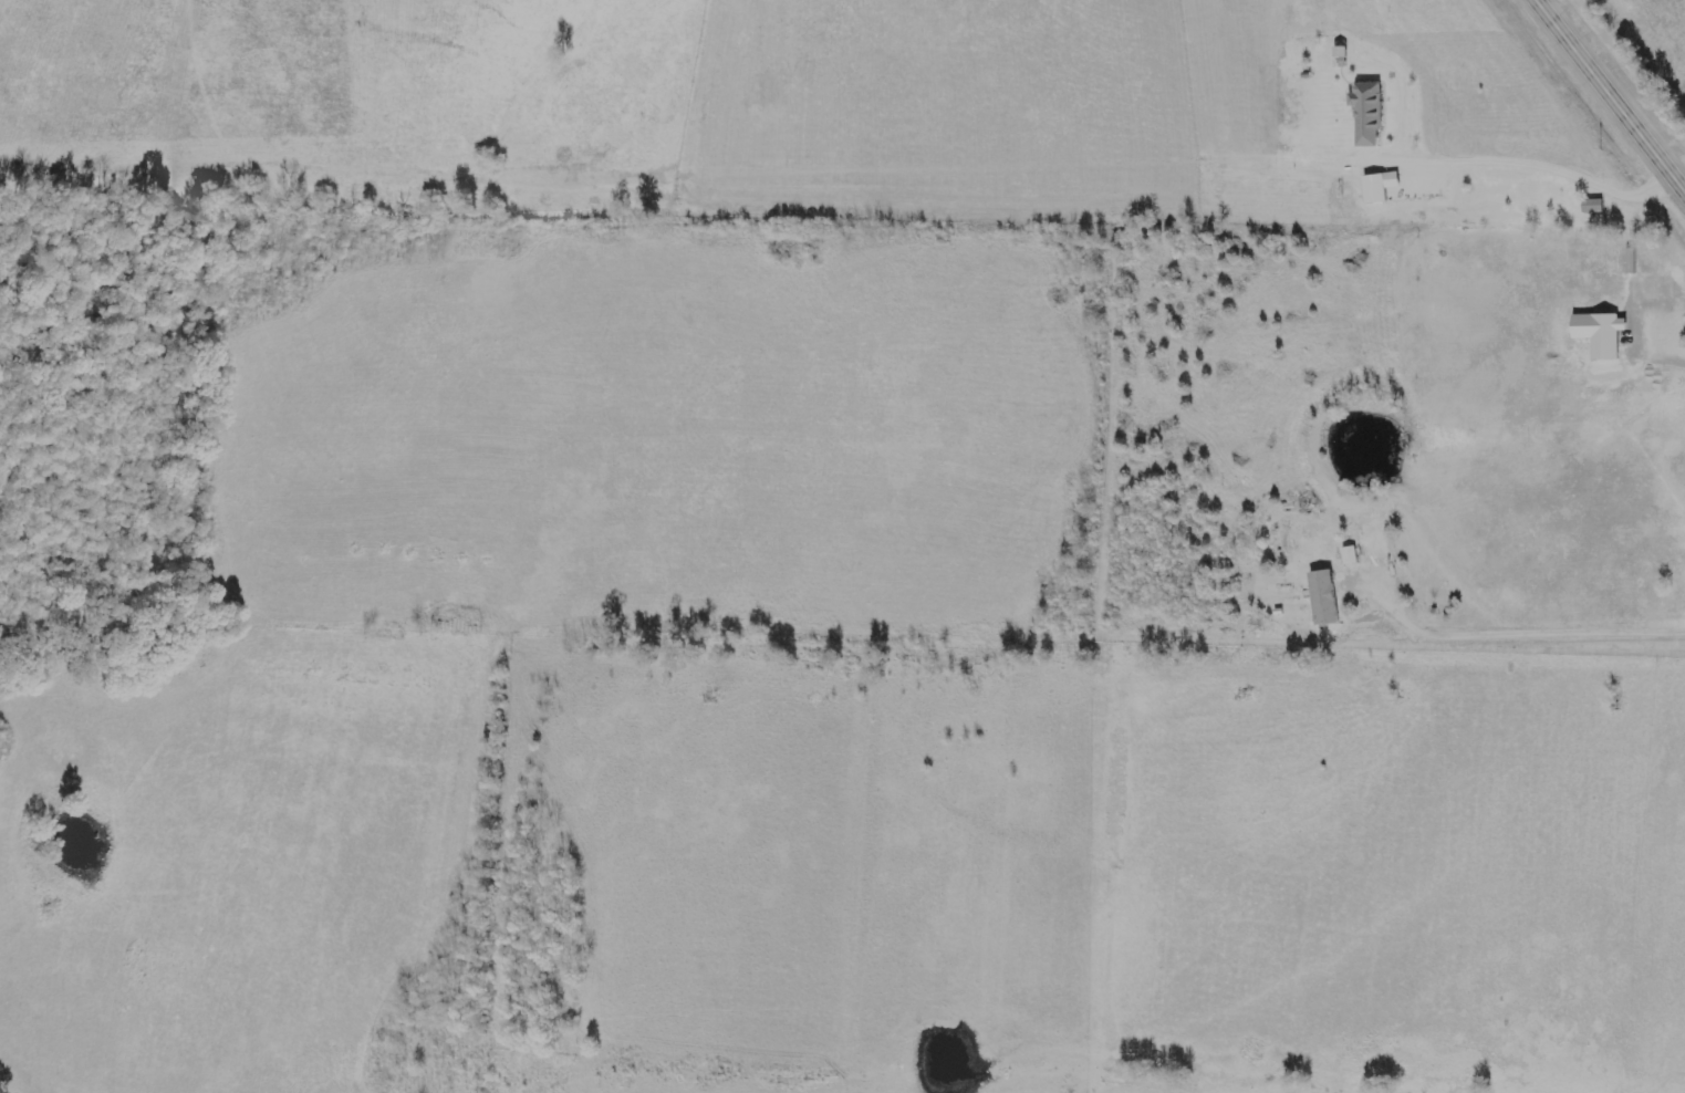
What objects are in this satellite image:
railway: (1624, 76)
road: (1612, 93)
building: (1369, 115)
building: (1380, 188)
building: (1594, 206)
building: (1633, 261)
building: (1604, 333)
building: (1352, 555)
building: (1335, 593)

